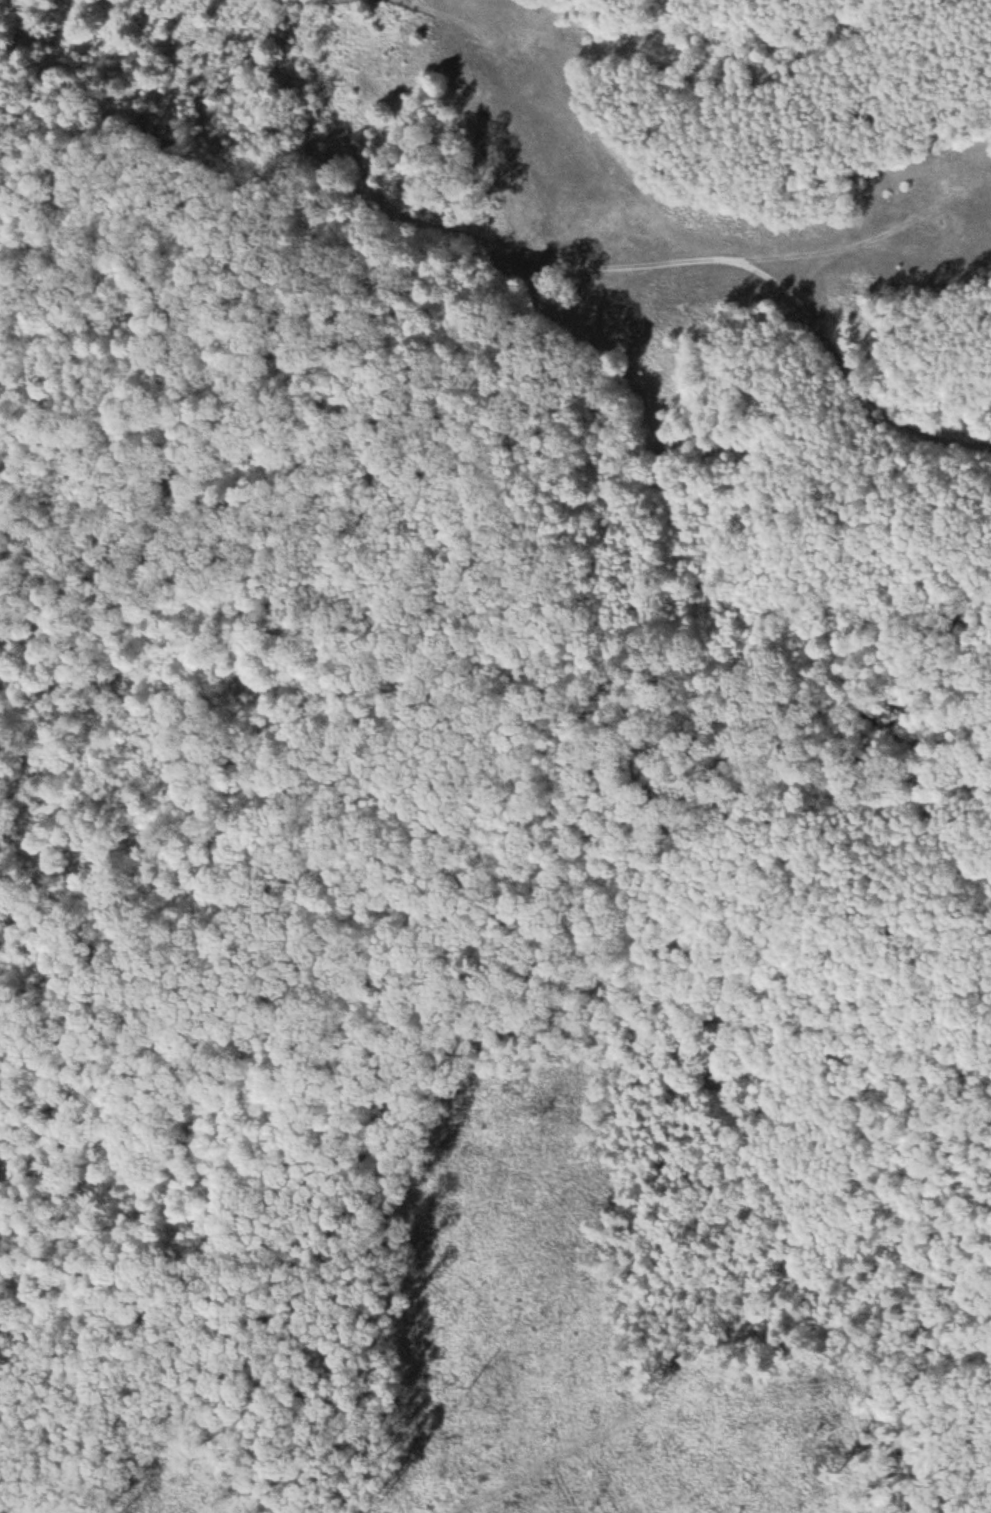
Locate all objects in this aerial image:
road: (615, 265)

